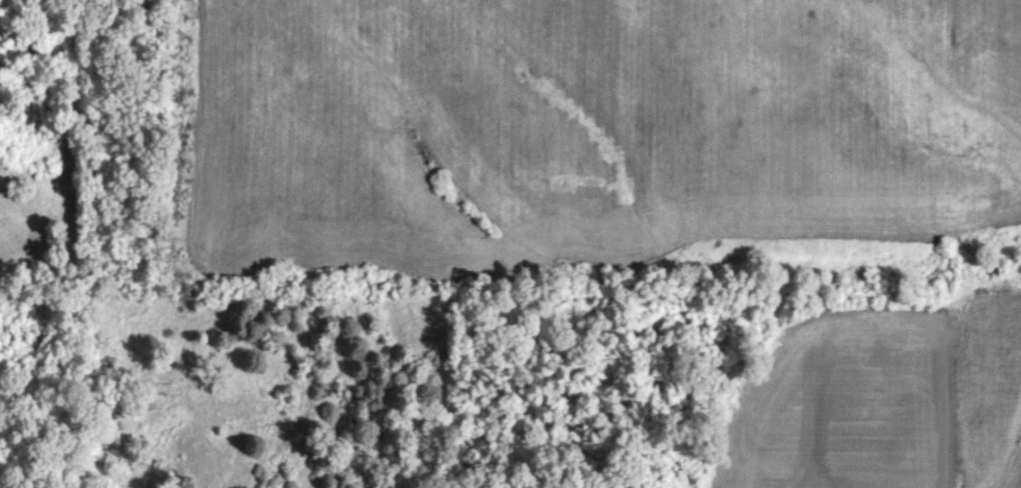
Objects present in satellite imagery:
crop: (589, 131)
crop: (992, 389)

